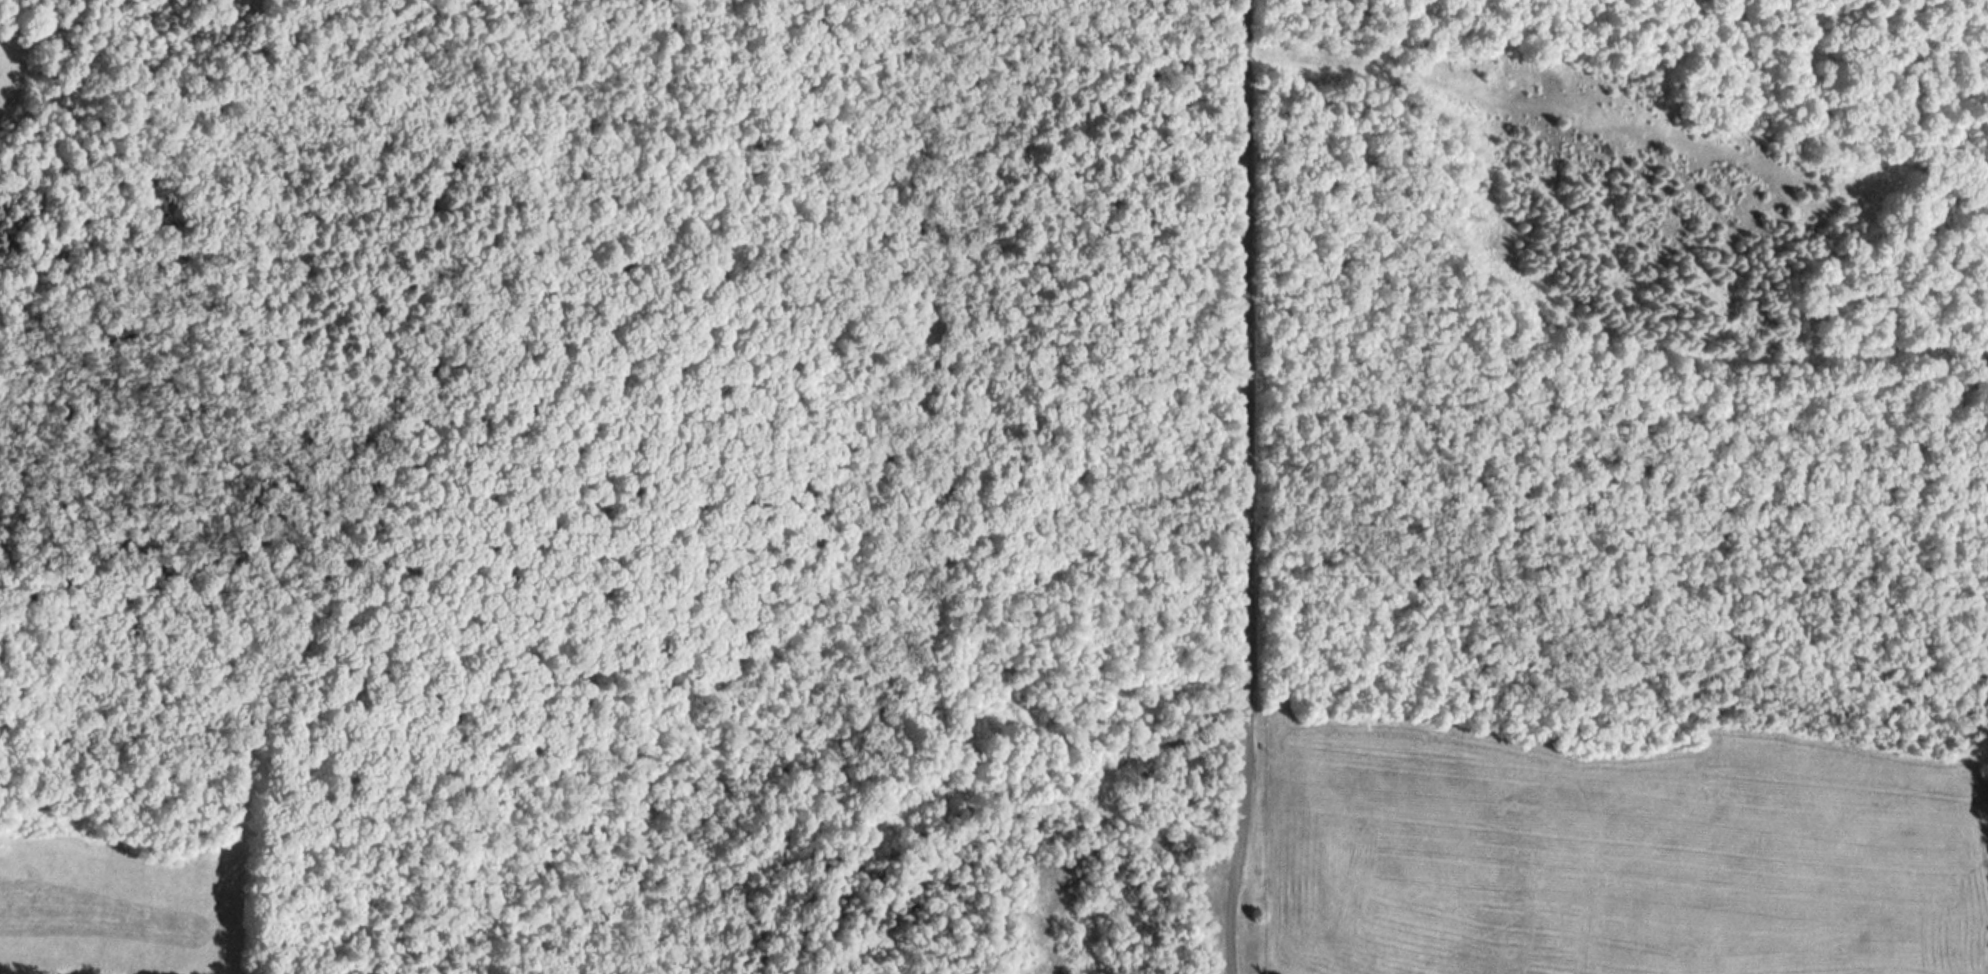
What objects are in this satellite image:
road: (1264, 487)

